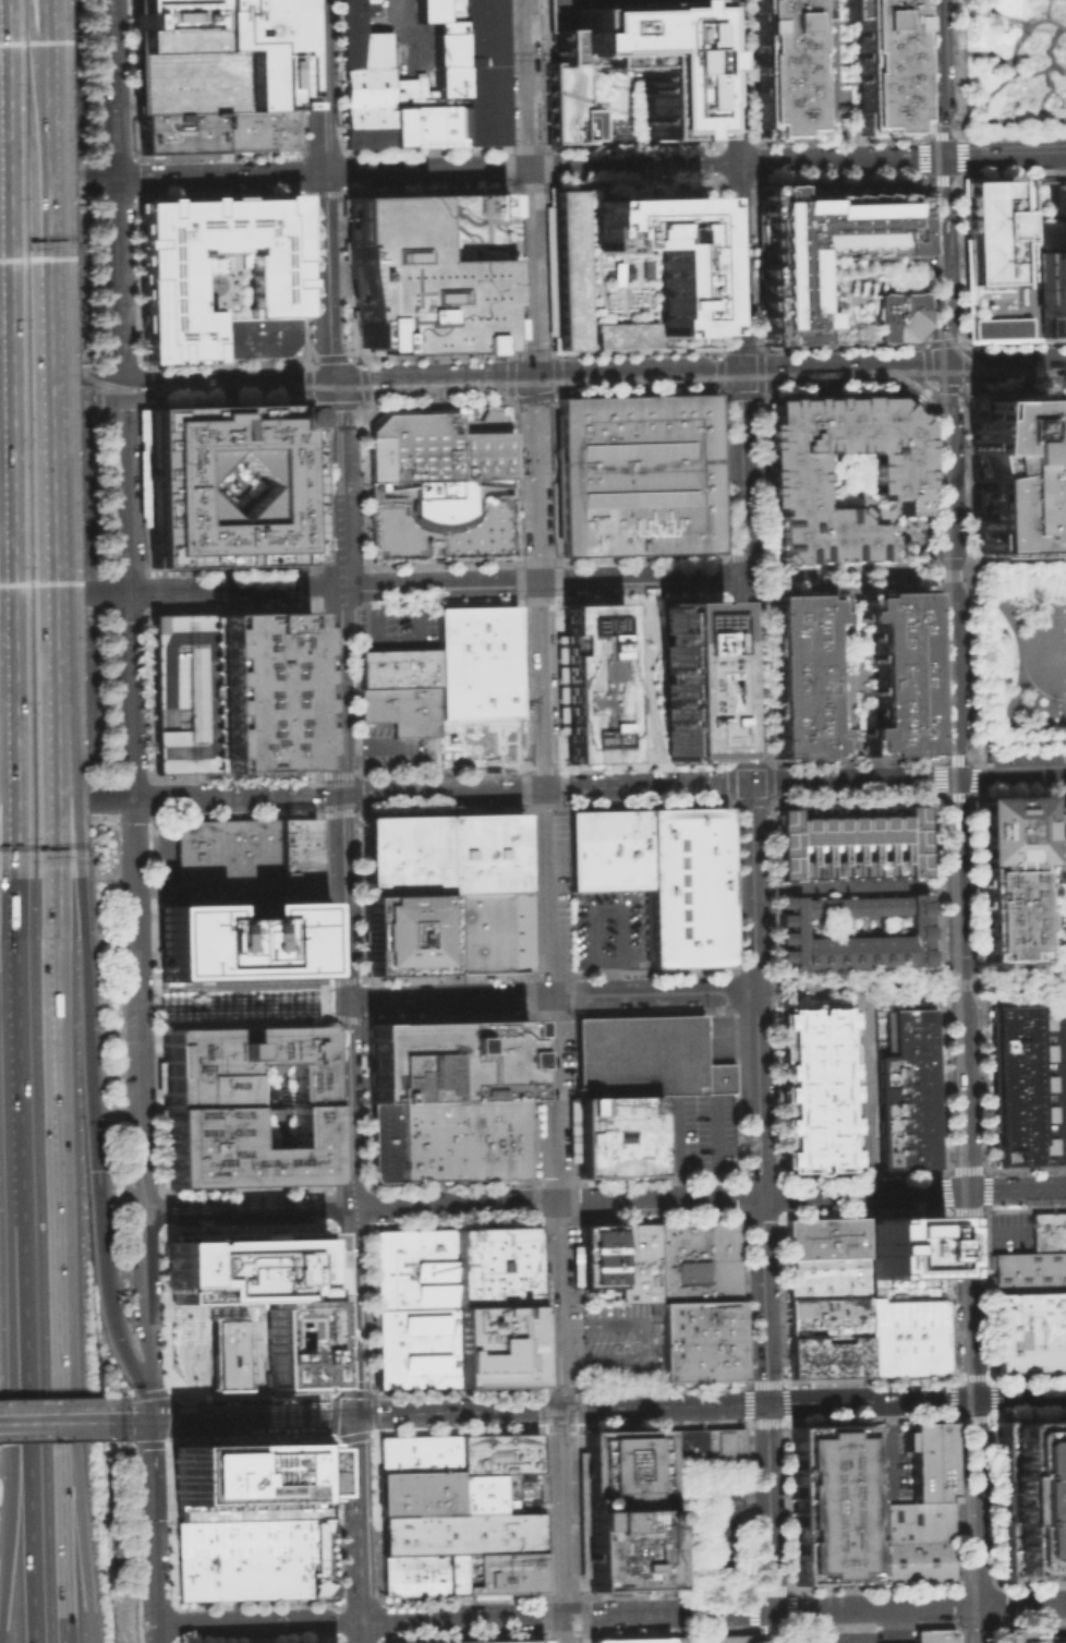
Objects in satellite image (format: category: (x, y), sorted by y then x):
building: (367, 0)
road: (1047, 9)
building: (428, 10)
building: (449, 10)
road: (1004, 16)
fountain: (1004, 26)
building: (352, 33)
building: (376, 48)
road: (947, 52)
road: (985, 52)
road: (1012, 55)
building: (213, 56)
road: (833, 59)
railway: (933, 61)
building: (447, 63)
road: (1050, 64)
building: (884, 65)
building: (784, 68)
road: (31, 69)
road: (40, 69)
building: (627, 69)
road: (919, 69)
park: (1009, 70)
road: (751, 71)
road: (108, 88)
building: (462, 89)
road: (1047, 89)
building: (411, 90)
railway: (922, 94)
building: (366, 107)
road: (926, 112)
road: (843, 119)
road: (971, 125)
building: (255, 130)
road: (833, 131)
road: (941, 132)
road: (1013, 132)
building: (177, 133)
road: (837, 141)
road: (732, 143)
road: (1001, 144)
road: (339, 152)
road: (960, 155)
road: (921, 158)
road: (837, 159)
road: (753, 161)
road: (714, 162)
road: (1002, 162)
road: (528, 168)
road: (216, 176)
railway: (81, 178)
road: (941, 178)
road: (98, 179)
road: (43, 180)
road: (734, 181)
road: (545, 185)
road: (526, 189)
road: (322, 190)
road: (301, 192)
road: (134, 194)
railway: (937, 217)
railway: (2, 220)
railway: (71, 247)
building: (838, 261)
building: (1014, 263)
building: (631, 268)
building: (427, 270)
road: (114, 285)
building: (167, 287)
building: (258, 336)
road: (960, 343)
road: (759, 349)
road: (532, 353)
railway: (960, 353)
road: (330, 357)
road: (358, 358)
road: (117, 365)
traffic signals: (946, 367)
road: (799, 371)
railway: (1034, 371)
road: (555, 372)
traffic signals: (740, 372)
railway: (935, 372)
railway: (942, 374)
railway: (27, 375)
road: (509, 377)
road: (305, 378)
traffic signals: (533, 378)
road: (429, 379)
traffic signals: (327, 382)
road: (364, 382)
road: (138, 383)
road: (222, 383)
railway: (434, 384)
road: (95, 385)
road: (59, 387)
road: (931, 388)
road: (1015, 388)
road: (947, 389)
railway: (918, 390)
road: (921, 390)
railway: (445, 391)
road: (719, 391)
road: (740, 391)
road: (925, 391)
road: (499, 392)
road: (476, 396)
road: (535, 396)
road: (45, 399)
road: (308, 401)
road: (437, 402)
road: (117, 403)
road: (336, 406)
building: (437, 447)
road: (1063, 461)
road: (855, 469)
building: (897, 471)
building: (635, 474)
building: (1009, 476)
road: (535, 480)
road: (516, 481)
building: (168, 484)
road: (329, 484)
parking lot: (46, 485)
road: (363, 485)
road: (513, 491)
road: (366, 493)
road: (860, 493)
building: (440, 519)
road: (440, 525)
road: (913, 543)
road: (724, 555)
road: (557, 560)
road: (441, 564)
road: (865, 565)
road: (318, 566)
road: (764, 567)
road: (101, 572)
road: (1001, 572)
road: (894, 575)
road: (909, 575)
road: (921, 575)
road: (857, 576)
road: (836, 577)
road: (782, 578)
road: (798, 578)
road: (434, 584)
road: (867, 584)
road: (62, 594)
road: (125, 594)
road: (0, 612)
parking lot: (397, 628)
road: (0, 637)
road: (396, 639)
road: (1021, 660)
building: (476, 661)
road: (935, 661)
park: (1020, 664)
building: (398, 668)
building: (898, 671)
building: (799, 674)
building: (691, 678)
road: (1015, 679)
building: (593, 681)
road: (541, 686)
building: (262, 690)
road: (335, 690)
building: (182, 691)
parking lot: (182, 691)
parking lot: (52, 697)
building: (401, 709)
railway: (947, 710)
road: (943, 735)
building: (479, 740)
road: (403, 744)
parking lot: (396, 747)
road: (3, 753)
road: (767, 763)
road: (47, 768)
road: (59, 768)
road: (973, 769)
road: (937, 774)
road: (1012, 777)
road: (852, 782)
road: (645, 786)
road: (971, 787)
road: (440, 790)
road: (234, 795)
road: (65, 799)
road: (561, 807)
road: (358, 811)
road: (109, 818)
building: (850, 843)
building: (609, 851)
building: (440, 854)
building: (294, 856)
building: (226, 858)
building: (1012, 870)
road: (855, 885)
building: (689, 889)
road: (546, 892)
road: (146, 908)
road: (590, 909)
building: (919, 928)
parking lot: (611, 930)
building: (484, 932)
building: (402, 934)
building: (238, 938)
road: (1013, 974)
road: (566, 975)
road: (910, 977)
street lamp: (940, 980)
road: (1052, 981)
road: (980, 983)
road: (961, 984)
road: (772, 986)
road: (944, 986)
road: (819, 987)
street lamp: (892, 988)
road: (732, 990)
road: (1013, 991)
road: (651, 992)
road: (910, 994)
road: (445, 998)
road: (323, 999)
road: (361, 999)
road: (342, 1001)
road: (239, 1002)
road: (136, 1004)
building: (1047, 1018)
road: (52, 1027)
road: (10, 1028)
railway: (959, 1039)
road: (549, 1047)
building: (1047, 1050)
road: (1064, 1051)
building: (635, 1055)
parking lot: (635, 1055)
building: (447, 1060)
building: (237, 1062)
building: (715, 1077)
building: (1049, 1080)
building: (1015, 1082)
building: (905, 1086)
building: (812, 1087)
road: (867, 1089)
building: (1050, 1111)
parking lot: (692, 1133)
building: (614, 1135)
road: (94, 1138)
building: (449, 1138)
building: (1050, 1145)
building: (239, 1148)
road: (553, 1150)
road: (716, 1150)
traffic signals: (97, 1169)
road: (968, 1192)
road: (913, 1193)
road: (707, 1198)
road: (637, 1199)
road: (533, 1203)
road: (398, 1207)
road: (244, 1210)
road: (948, 1210)
road: (761, 1213)
road: (161, 1221)
building: (1049, 1231)
road: (997, 1232)
parking lot: (1012, 1232)
building: (825, 1235)
building: (905, 1245)
building: (598, 1255)
building: (698, 1260)
building: (639, 1263)
road: (556, 1264)
building: (492, 1266)
building: (412, 1268)
building: (1029, 1272)
building: (826, 1276)
building: (906, 1284)
building: (261, 1294)
road: (950, 1296)
road: (141, 1302)
road: (162, 1309)
road: (62, 1310)
road: (350, 1312)
building: (827, 1316)
building: (1029, 1331)
building: (907, 1336)
railway: (955, 1336)
road: (207, 1337)
building: (700, 1340)
parking lot: (621, 1342)
road: (658, 1342)
road: (558, 1344)
building: (494, 1345)
building: (414, 1348)
park: (190, 1353)
building: (229, 1353)
building: (828, 1355)
road: (958, 1355)
road: (966, 1379)
road: (558, 1387)
road: (958, 1389)
road: (156, 1390)
road: (11, 1392)
road: (343, 1392)
road: (254, 1394)
road: (117, 1398)
traffic signals: (973, 1399)
road: (50, 1400)
road: (174, 1402)
road: (812, 1402)
road: (332, 1403)
traffic signals: (766, 1404)
road: (147, 1406)
traffic signals: (560, 1410)
road: (24, 1411)
road: (456, 1412)
traffic signals: (353, 1415)
road: (250, 1417)
road: (76, 1422)
road: (125, 1422)
traffic signals: (147, 1422)
road: (24, 1423)
building: (723, 1448)
building: (683, 1449)
road: (889, 1449)
building: (497, 1452)
building: (918, 1460)
building: (940, 1461)
road: (148, 1465)
road: (354, 1465)
building: (623, 1469)
parking lot: (886, 1471)
building: (417, 1475)
building: (250, 1477)
road: (746, 1490)
building: (486, 1493)
building: (1030, 1498)
building: (831, 1503)
road: (562, 1511)
building: (911, 1521)
parking lot: (704, 1526)
building: (459, 1533)
road: (355, 1536)
road: (82, 1541)
road: (63, 1542)
building: (626, 1547)
building: (252, 1557)
building: (912, 1561)
road: (725, 1566)
building: (499, 1571)
building: (421, 1573)
road: (152, 1576)
road: (356, 1587)
road: (1021, 1603)
road: (771, 1609)
road: (512, 1616)
road: (409, 1618)
traffic signals: (359, 1620)
road: (255, 1621)
road: (978, 1623)
road: (141, 1624)
road: (64, 1627)
road: (958, 1627)
road: (565, 1628)
road: (359, 1631)
road: (585, 1633)
road: (960, 1634)
building: (1025, 1634)
building: (933, 1635)
parking lot: (841, 1636)
parking lot: (893, 1636)
building: (802, 1638)
building: (710, 1639)
building: (631, 1640)
building: (488, 1641)

